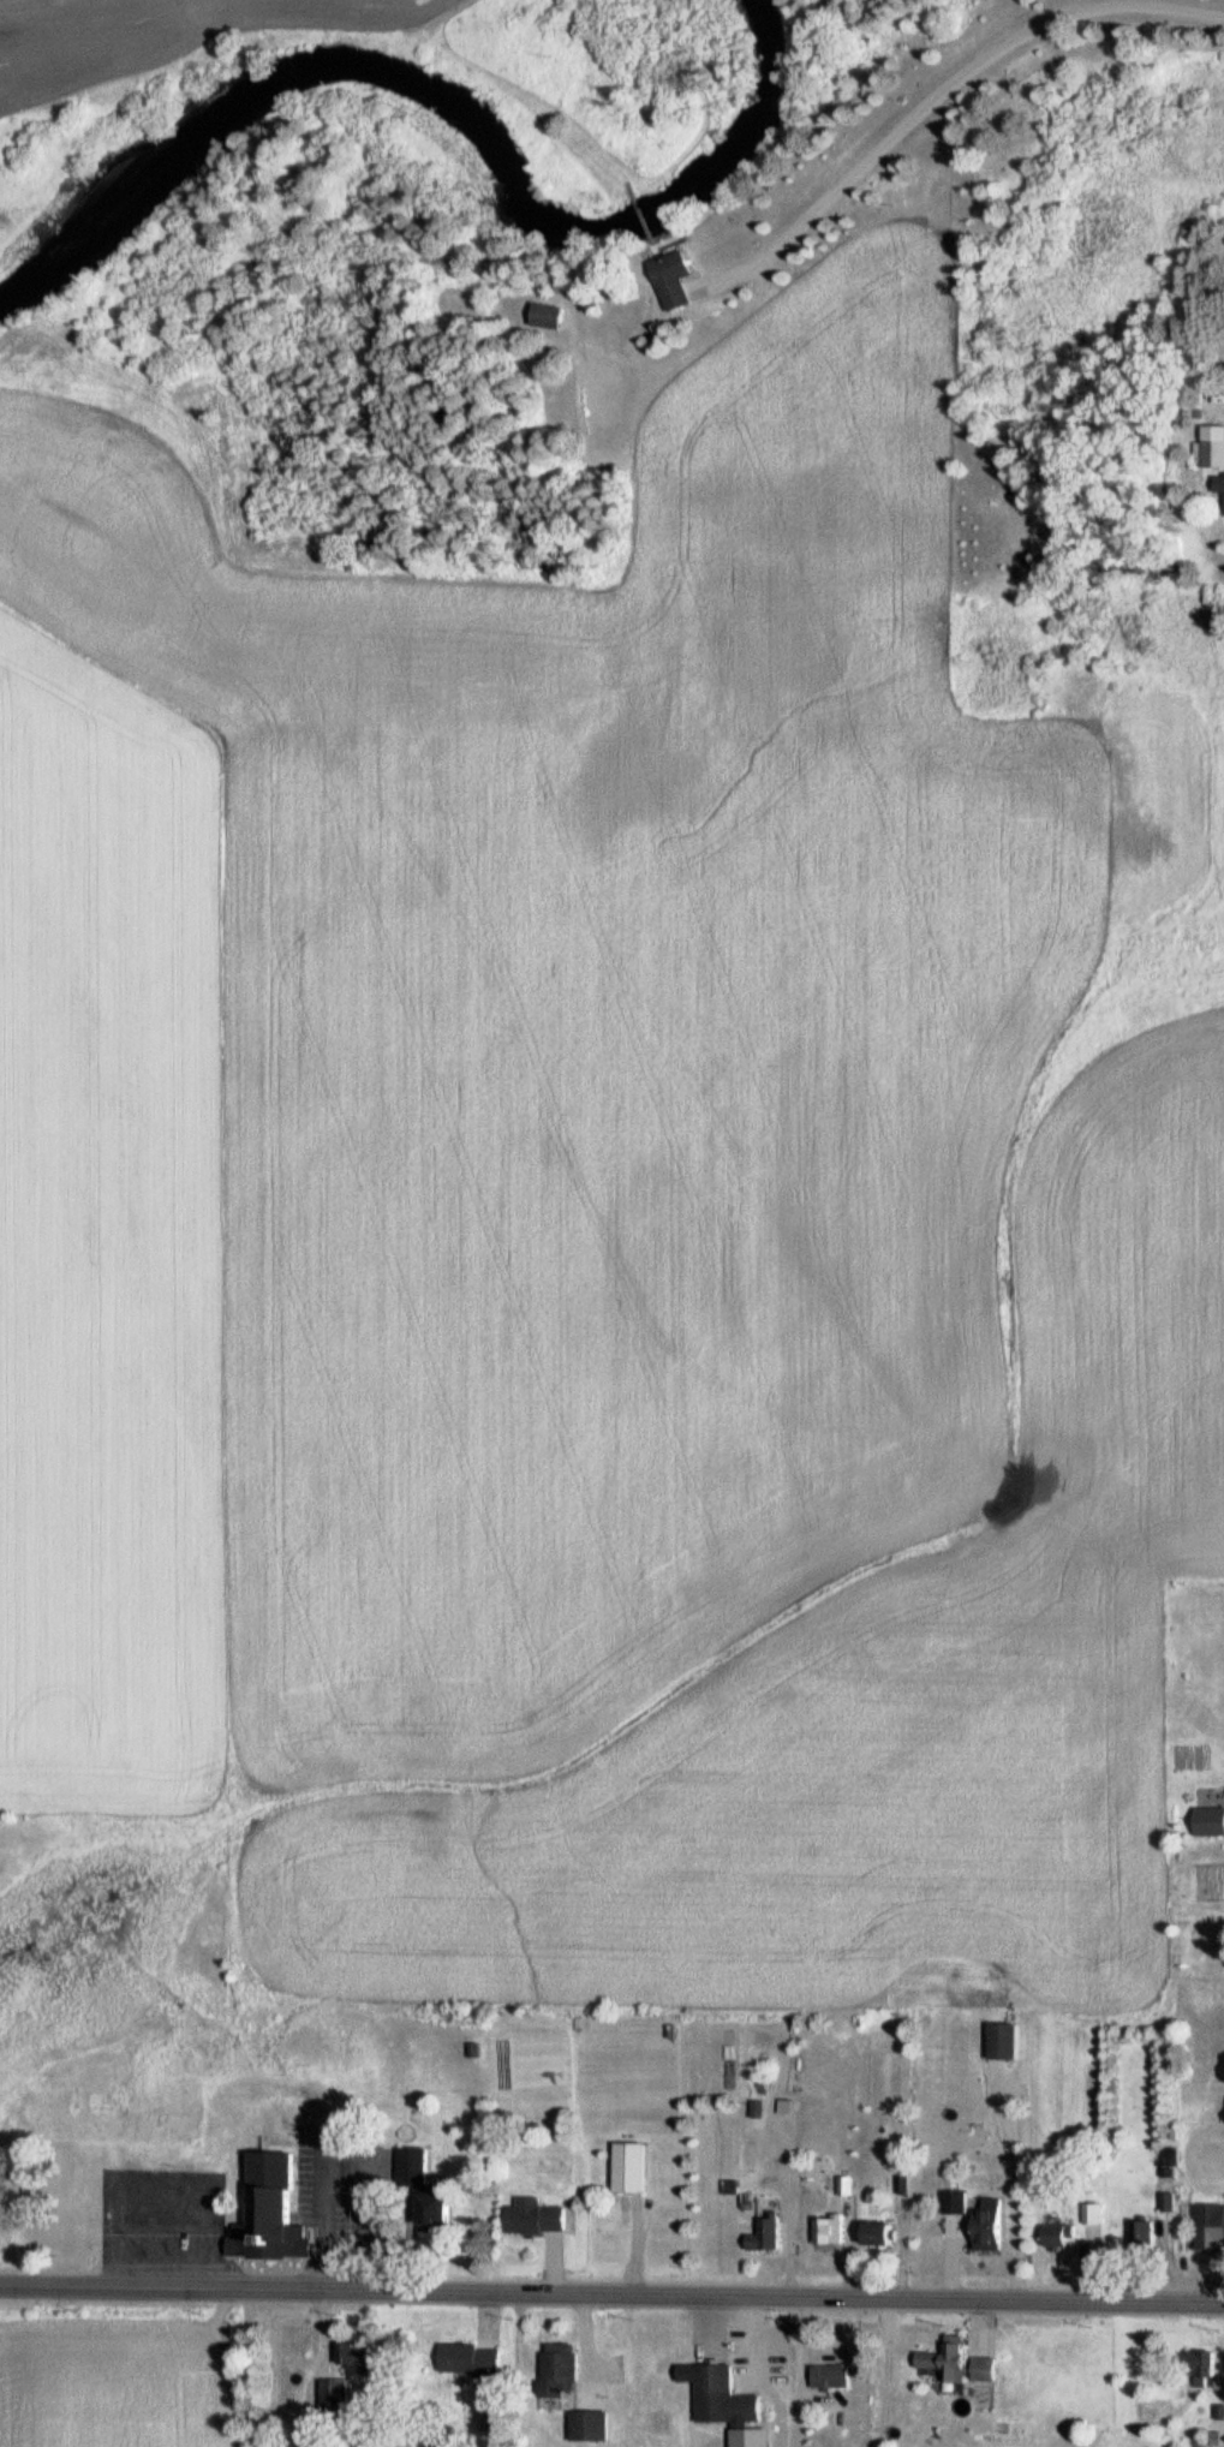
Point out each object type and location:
road: (939, 91)
river: (446, 108)
building: (683, 276)
building: (556, 315)
building: (1213, 444)
building: (1220, 482)
building: (1010, 2040)
building: (759, 2112)
road: (326, 2138)
building: (416, 2165)
building: (632, 2167)
parking lot: (335, 2178)
building: (959, 2201)
building: (270, 2210)
building: (441, 2212)
parking lot: (175, 2215)
building: (542, 2219)
building: (1093, 2219)
building: (998, 2222)
building: (1212, 2227)
building: (831, 2228)
building: (771, 2234)
building: (890, 2234)
building: (1062, 2236)
building: (1145, 2237)
road: (611, 2293)
building: (359, 2357)
building: (473, 2358)
building: (962, 2362)
building: (1206, 2363)
building: (784, 2364)
building: (563, 2373)
building: (835, 2375)
building: (338, 2395)
building: (726, 2395)
building: (492, 2417)
building: (593, 2425)

